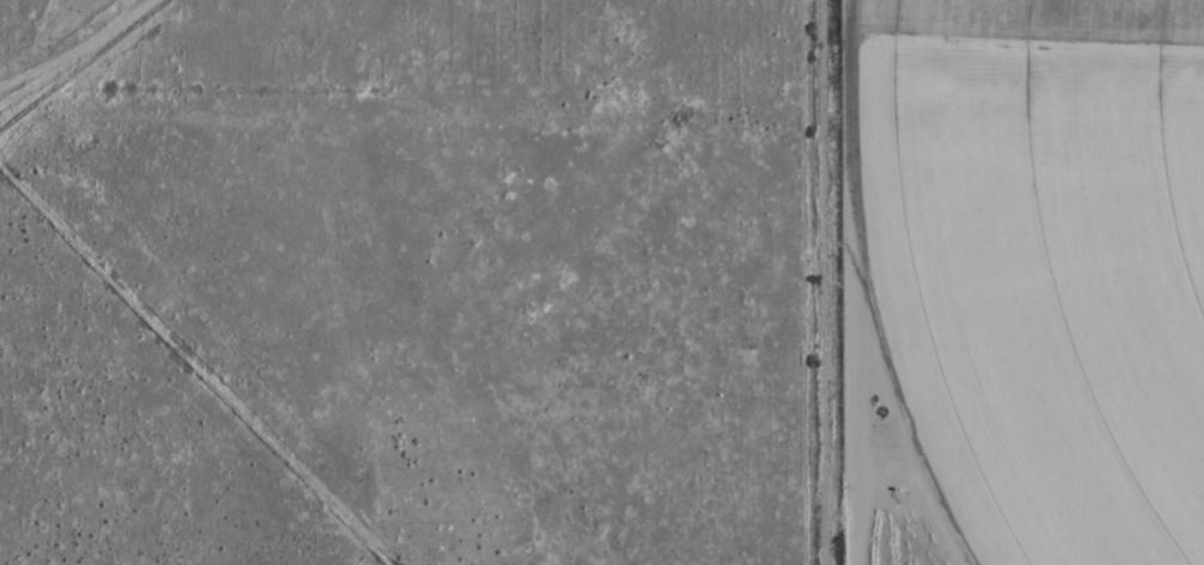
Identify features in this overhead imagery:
crop: (1033, 270)

